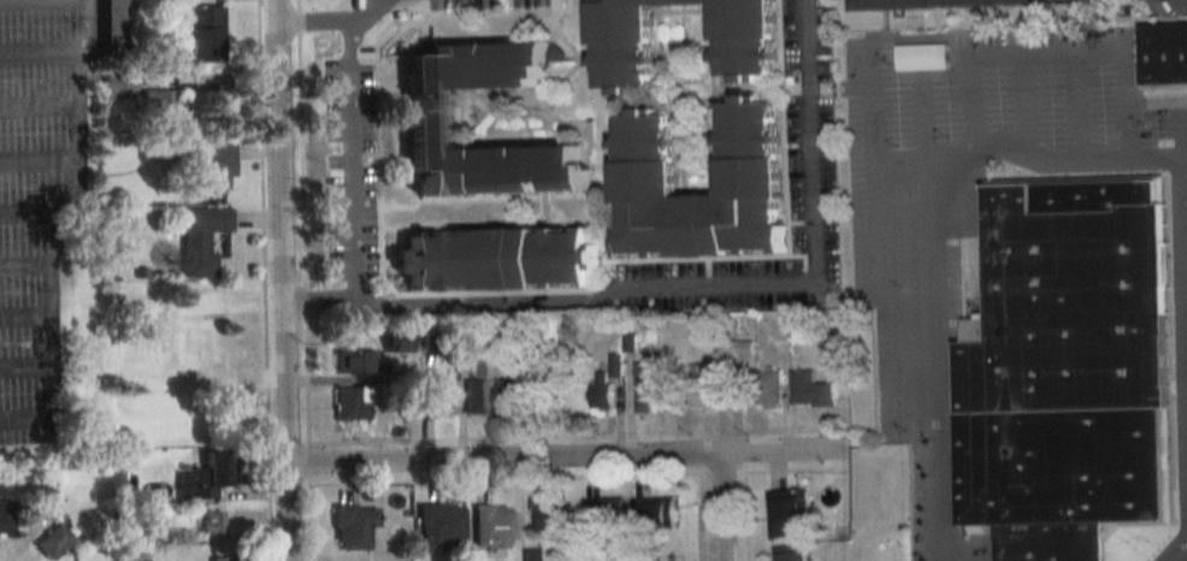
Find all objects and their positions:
building: (928, 2)
road: (327, 22)
building: (113, 29)
building: (205, 34)
building: (622, 40)
road: (42, 51)
building: (1164, 53)
building: (921, 55)
building: (119, 87)
road: (1158, 102)
road: (42, 106)
building: (163, 107)
building: (430, 117)
road: (1129, 136)
road: (809, 146)
building: (749, 155)
road: (41, 160)
road: (354, 161)
building: (212, 166)
road: (1053, 170)
road: (34, 213)
road: (55, 234)
building: (201, 238)
building: (497, 258)
road: (26, 265)
building: (141, 273)
road: (280, 279)
road: (305, 279)
road: (264, 280)
road: (541, 305)
road: (28, 315)
building: (498, 337)
building: (433, 339)
building: (468, 339)
building: (398, 342)
building: (628, 343)
building: (743, 343)
road: (925, 352)
building: (354, 361)
building: (615, 365)
road: (28, 366)
building: (1067, 368)
building: (705, 382)
building: (645, 386)
building: (769, 386)
building: (809, 389)
building: (443, 395)
building: (476, 395)
building: (509, 395)
building: (602, 395)
building: (411, 398)
building: (352, 402)
road: (773, 430)
road: (403, 441)
road: (559, 457)
building: (206, 476)
road: (568, 477)
building: (43, 494)
road: (719, 507)
building: (603, 510)
building: (654, 510)
building: (786, 513)
building: (6, 516)
road: (699, 516)
road: (744, 516)
building: (553, 518)
building: (211, 521)
road: (1186, 522)
building: (353, 525)
building: (439, 525)
building: (494, 526)
building: (178, 536)
building: (55, 539)
building: (789, 553)
road: (1180, 553)
building: (535, 555)
road: (4, 559)
building: (220, 559)

